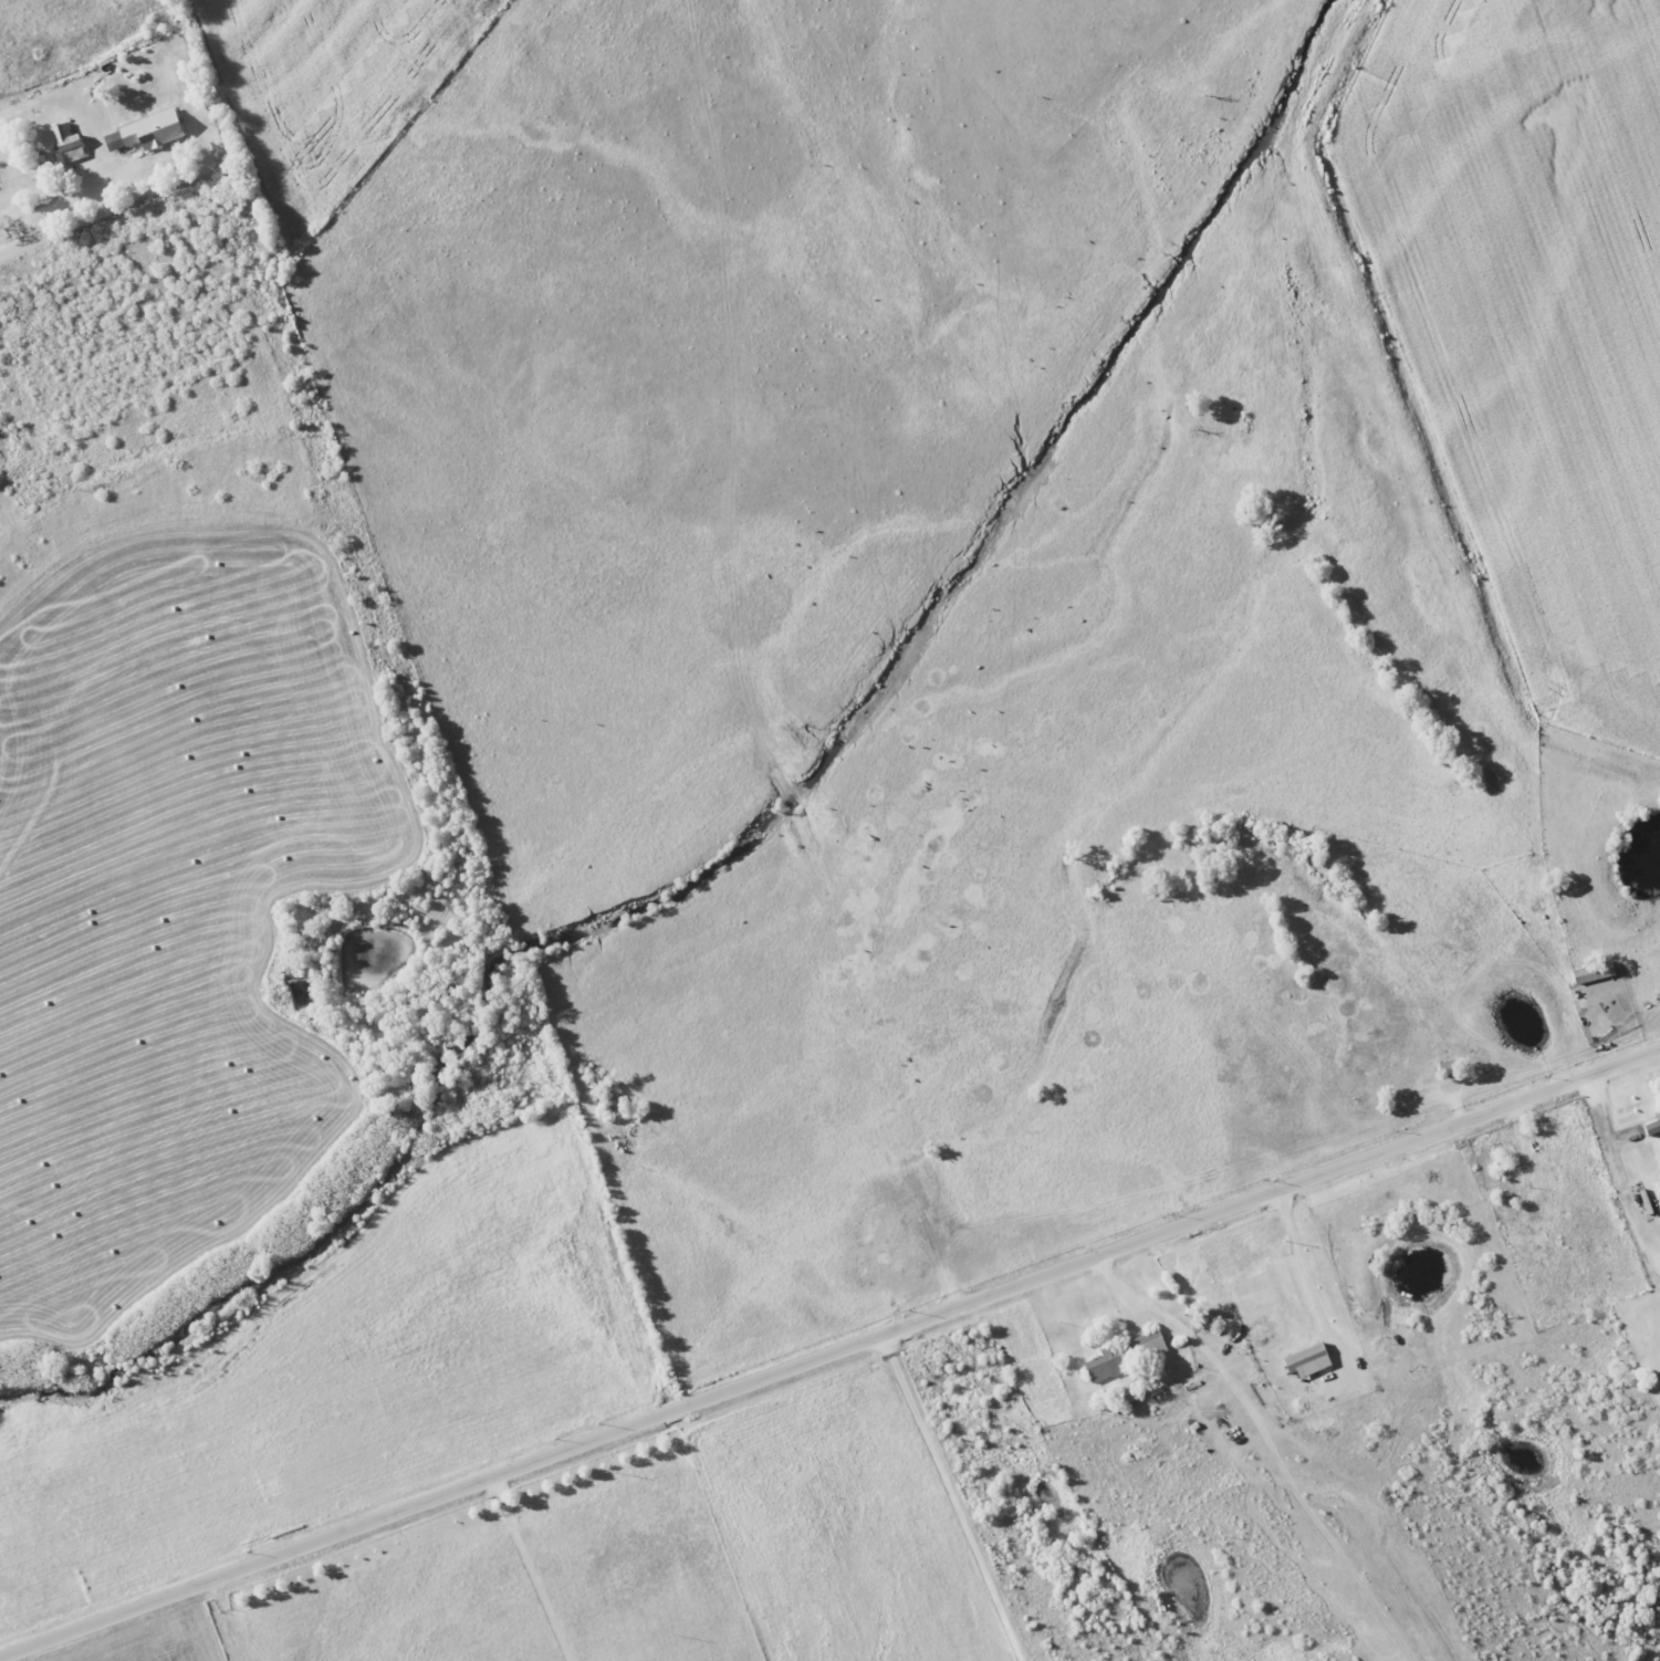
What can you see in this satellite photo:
road: (31, 103)
building: (150, 130)
building: (64, 144)
building: (1651, 1126)
road: (1615, 1163)
building: (1657, 1185)
road: (1309, 1284)
building: (1125, 1355)
road: (832, 1359)
building: (1305, 1360)
road: (1267, 1442)
road: (953, 1501)
road: (523, 1571)

